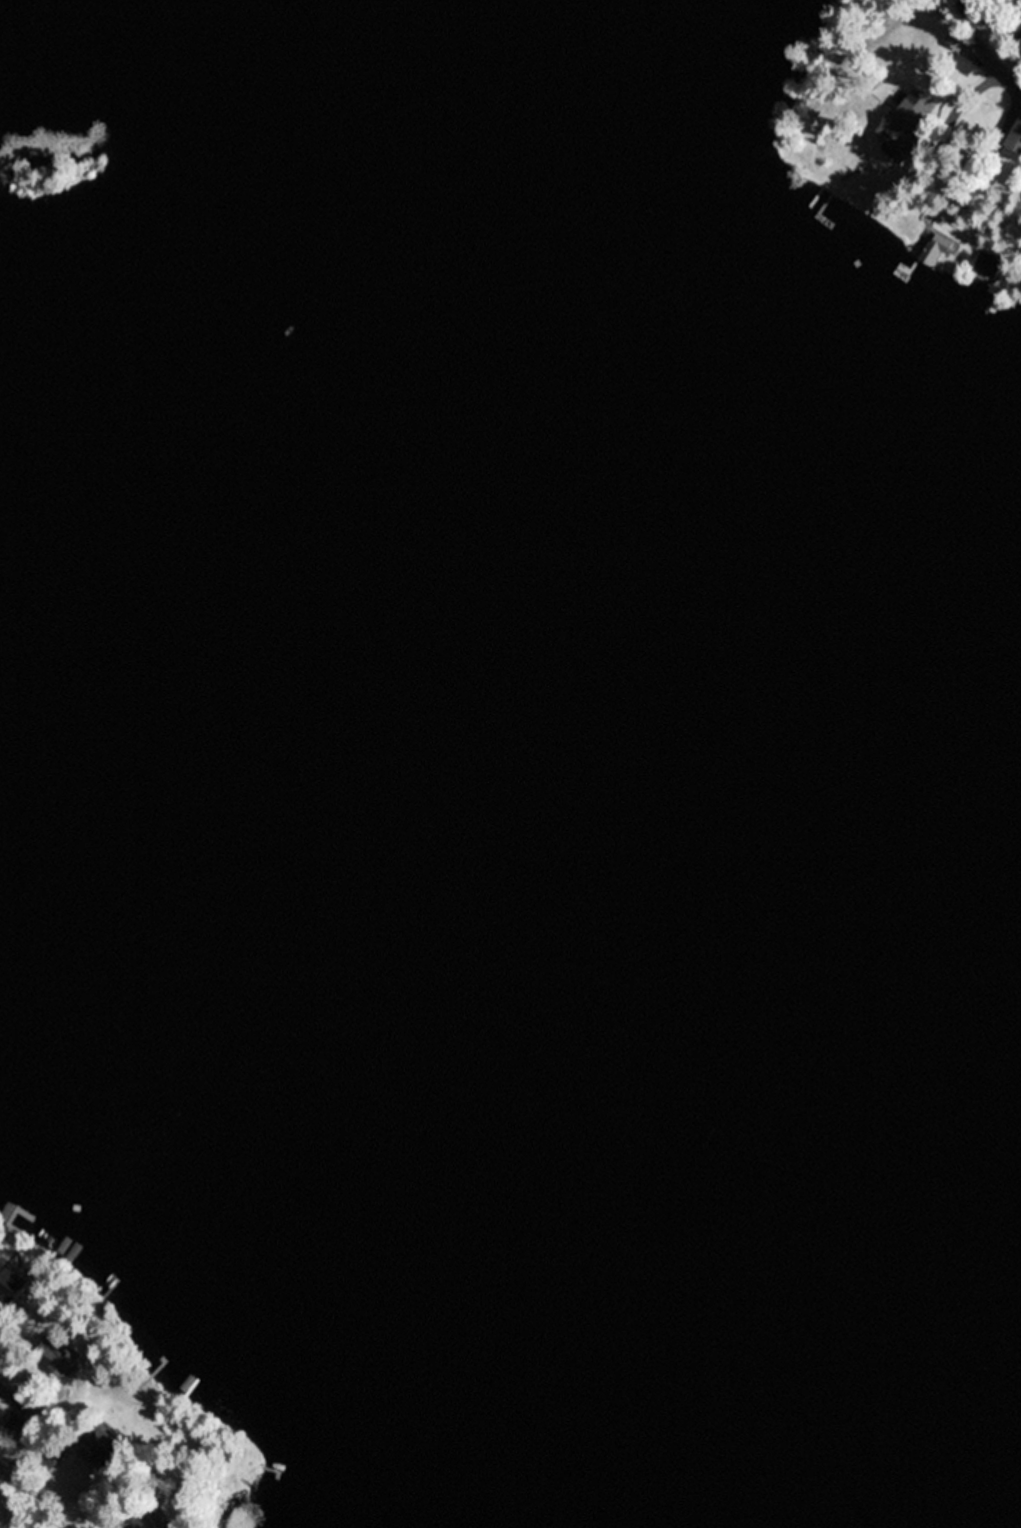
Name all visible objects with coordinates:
building: (965, 4)
building: (962, 37)
road: (1012, 75)
building: (1020, 113)
building: (910, 124)
building: (1016, 139)
building: (938, 249)
building: (990, 265)
building: (17, 1285)
building: (61, 1354)
building: (18, 1428)
building: (105, 1447)
building: (57, 1457)
building: (98, 1493)
building: (141, 1521)

